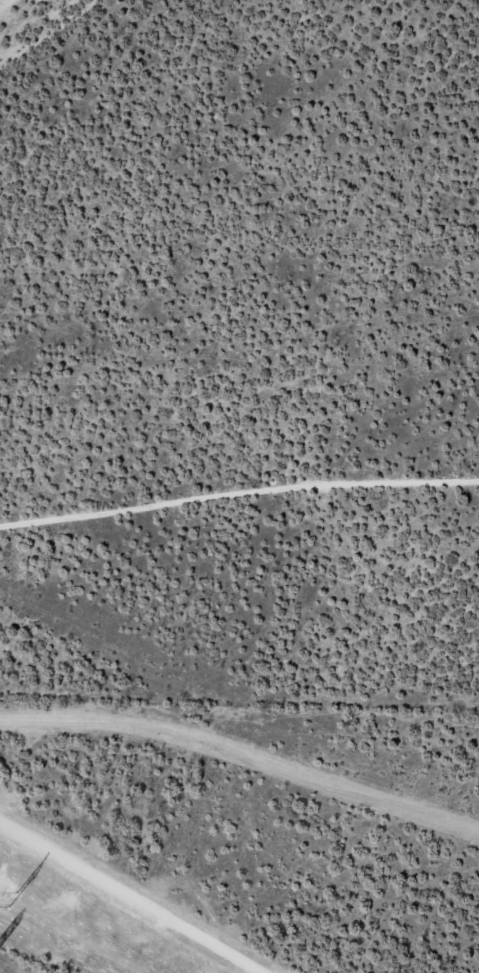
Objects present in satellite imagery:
road: (27, 15)
road: (239, 613)
road: (242, 756)

